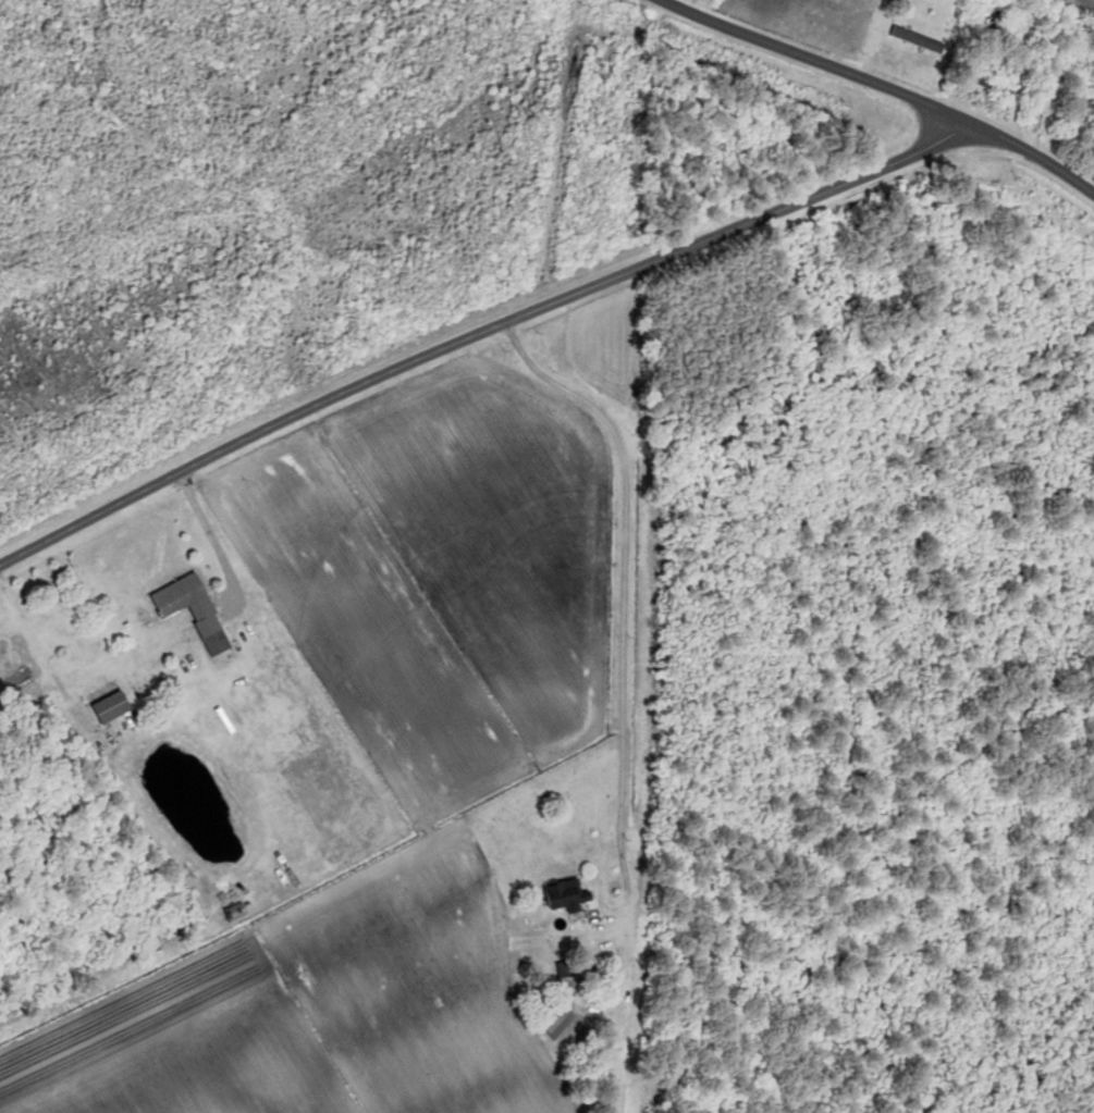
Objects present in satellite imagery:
building: (911, 36)
road: (818, 58)
building: (1086, 87)
building: (997, 88)
road: (1033, 159)
road: (479, 335)
road: (213, 543)
building: (182, 595)
building: (218, 643)
road: (620, 693)
building: (558, 894)

